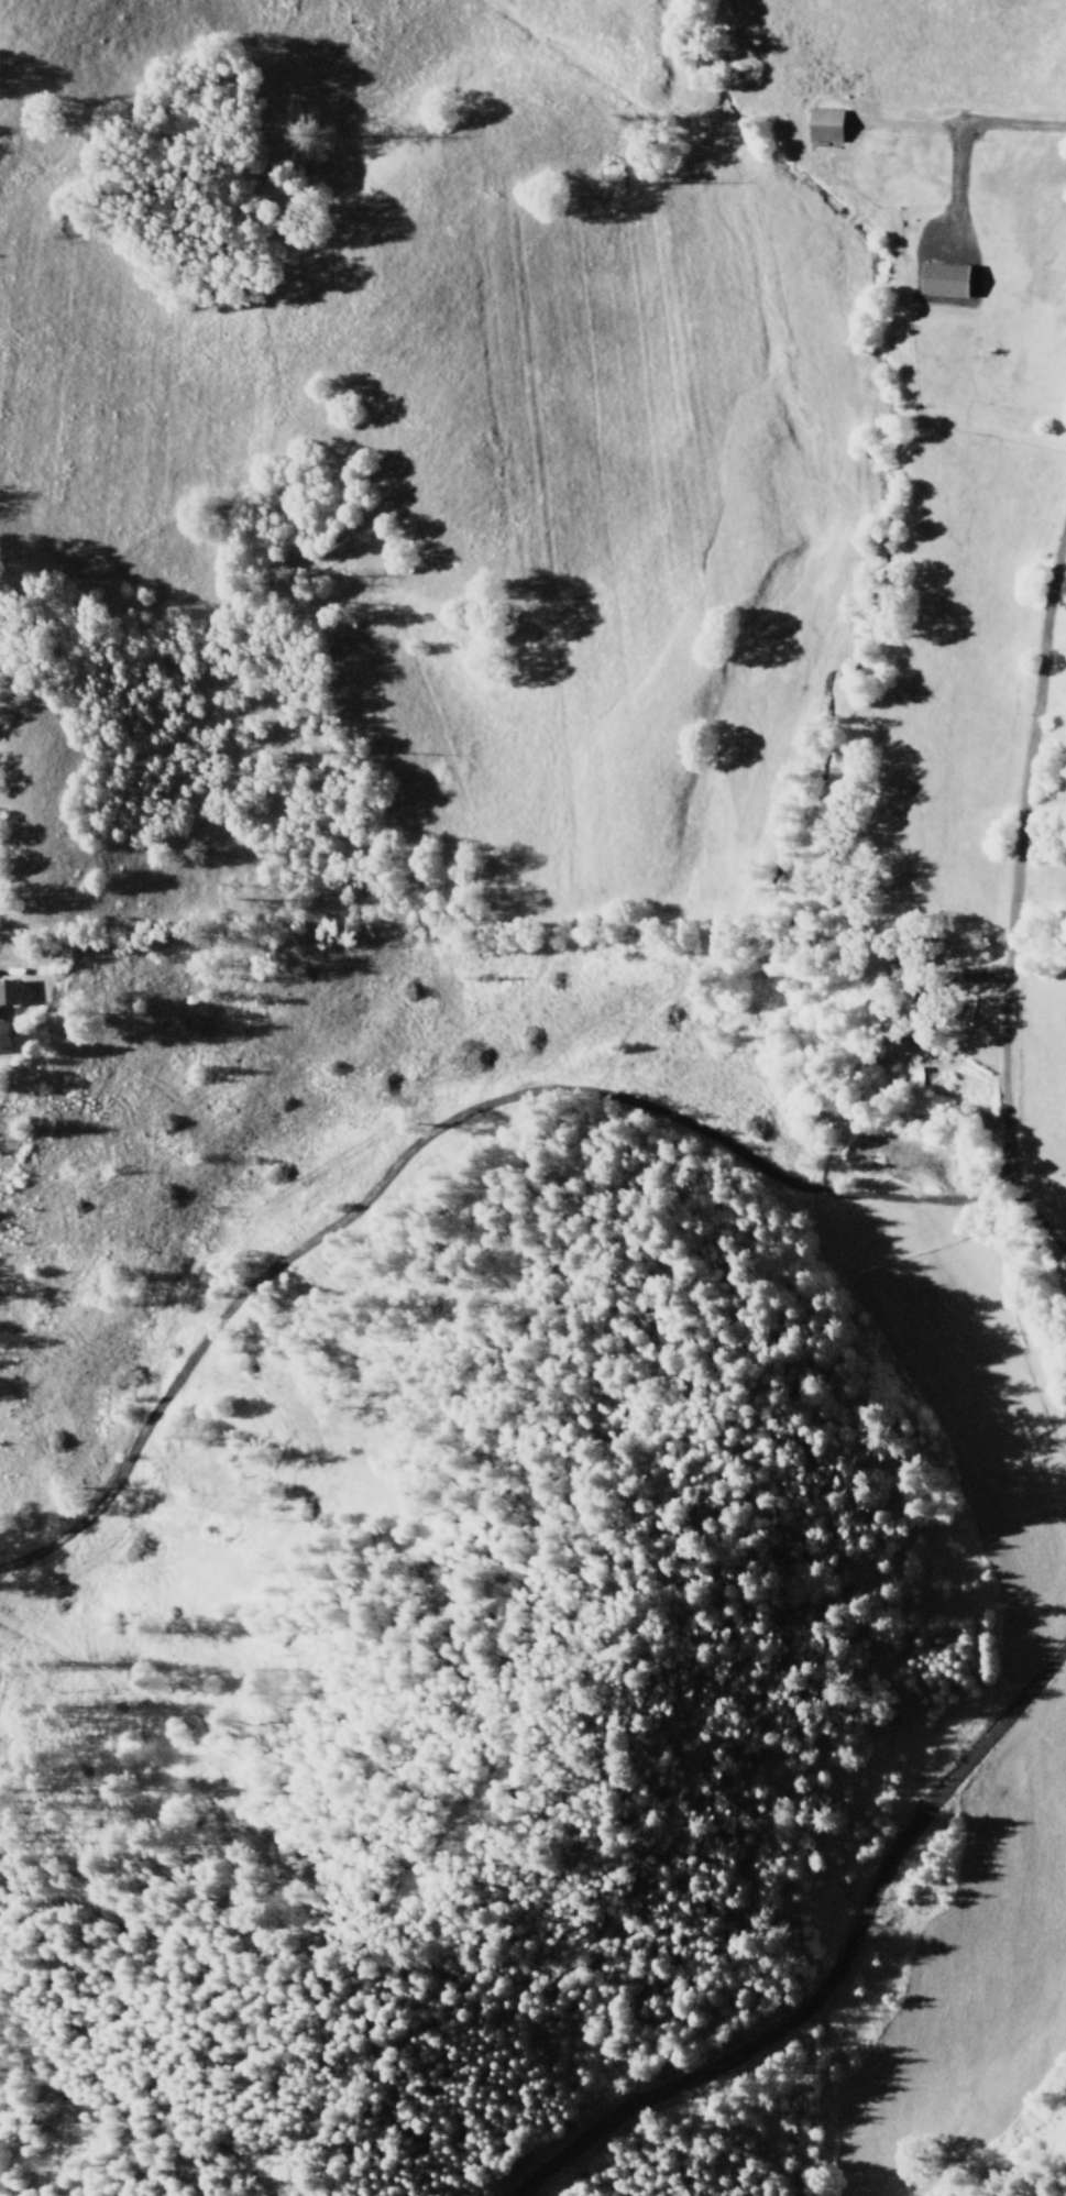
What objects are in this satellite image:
building: (824, 125)
road: (1015, 125)
building: (943, 281)
road: (1005, 887)
building: (7, 992)
building: (3, 1037)
building: (915, 1076)

